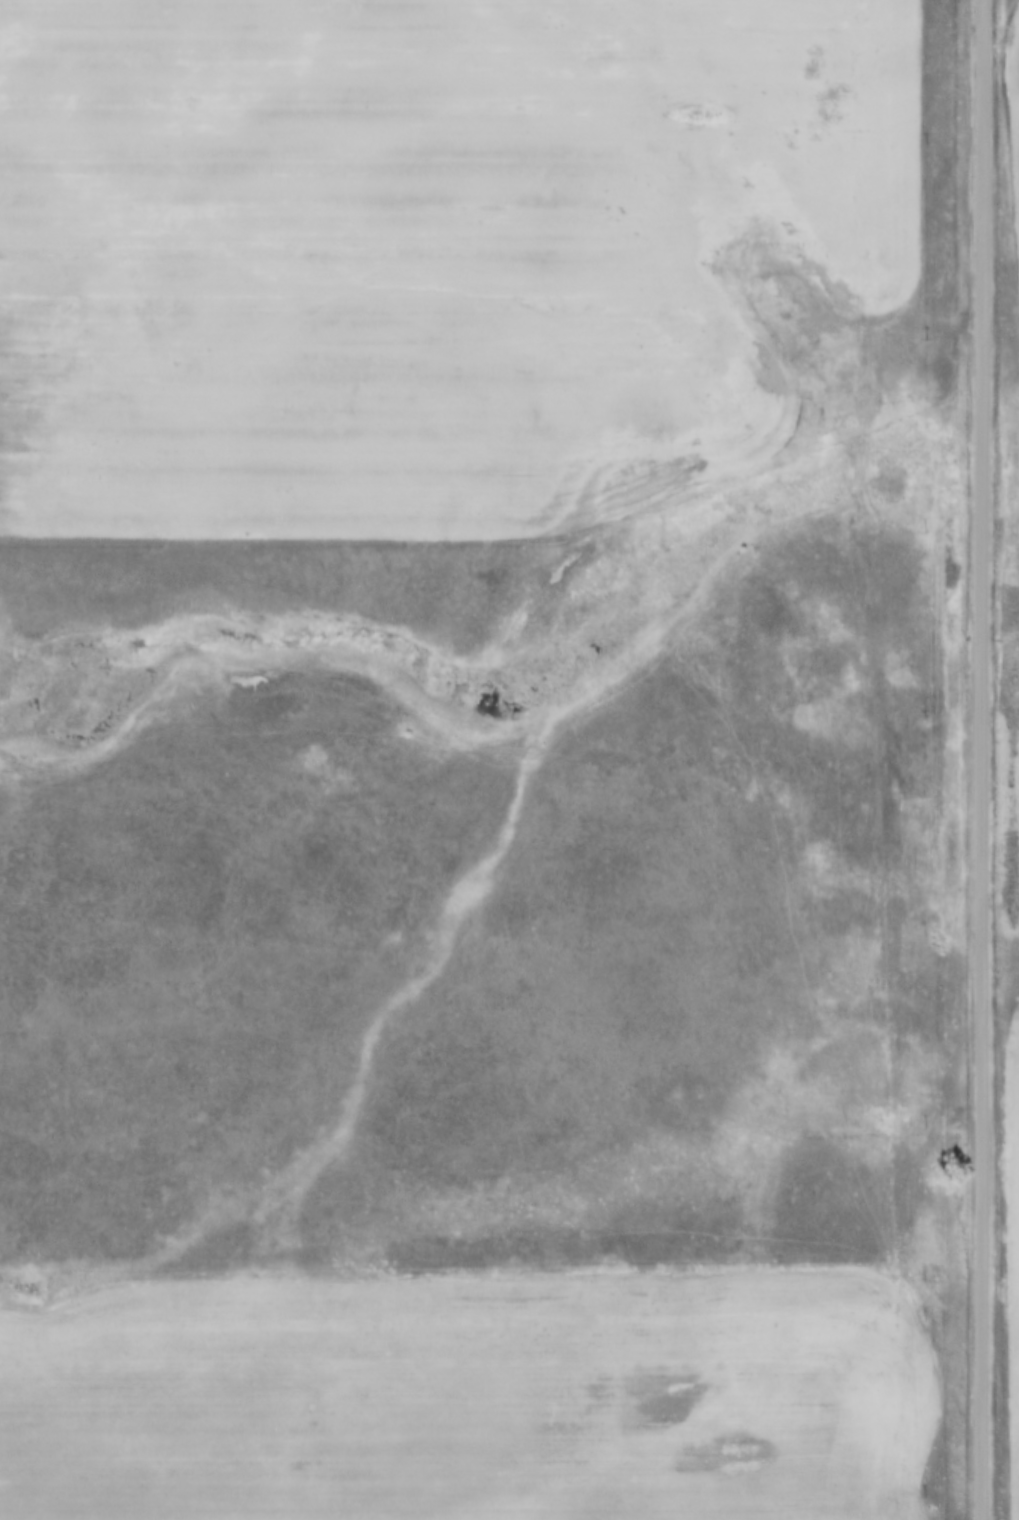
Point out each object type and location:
road: (983, 760)

